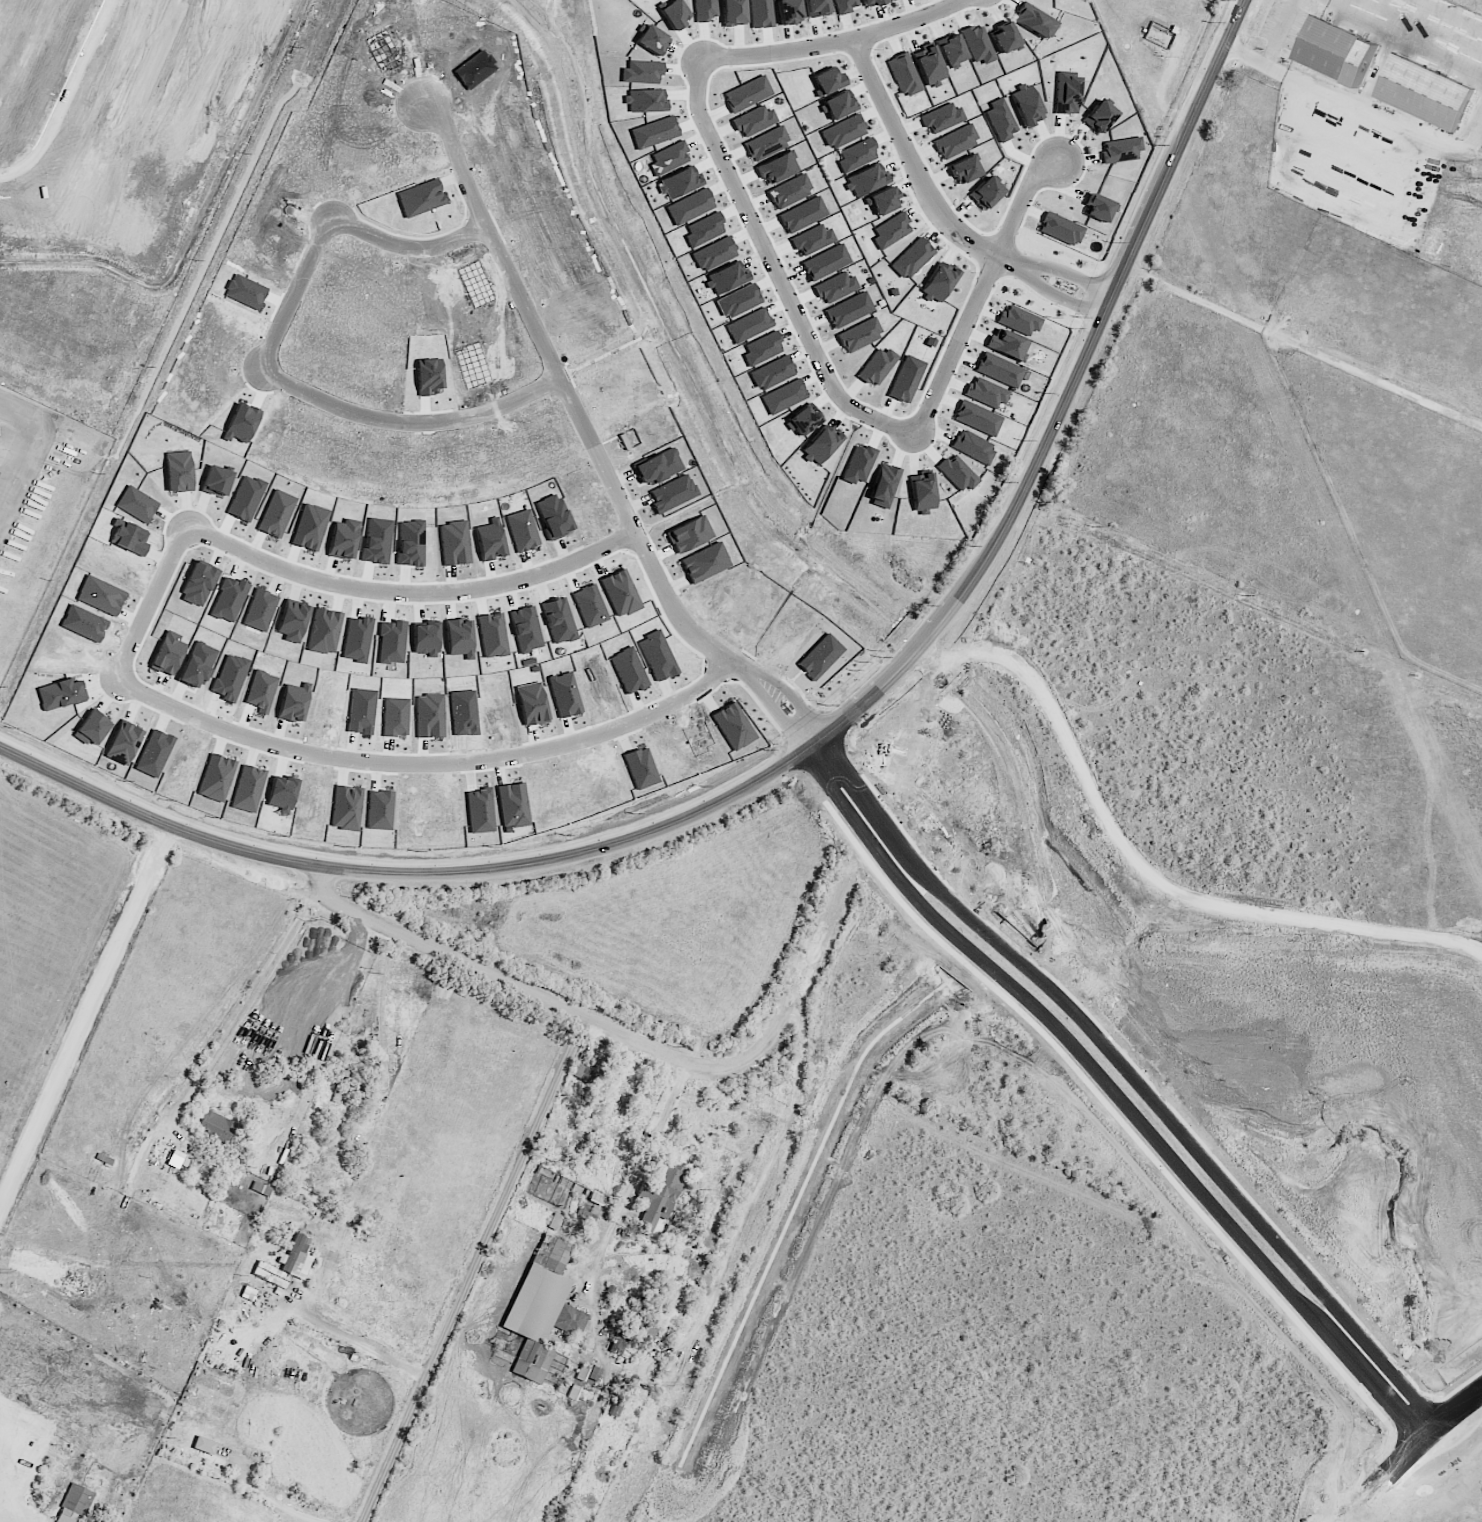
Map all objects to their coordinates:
building: (872, 3)
building: (844, 6)
building: (816, 7)
building: (704, 10)
building: (788, 11)
building: (732, 12)
building: (761, 14)
building: (673, 15)
building: (1035, 21)
building: (1004, 37)
building: (651, 40)
road: (833, 42)
building: (978, 44)
road: (1270, 50)
building: (951, 51)
building: (1336, 51)
building: (928, 64)
building: (642, 72)
building: (904, 75)
building: (827, 80)
building: (1425, 92)
building: (1066, 93)
building: (747, 94)
building: (646, 100)
building: (838, 105)
building: (1026, 105)
building: (1100, 115)
building: (941, 118)
building: (1001, 120)
building: (754, 121)
building: (844, 131)
building: (654, 133)
building: (955, 142)
building: (766, 143)
building: (1121, 150)
building: (856, 155)
building: (669, 158)
road: (917, 167)
building: (777, 168)
building: (964, 170)
building: (866, 179)
building: (680, 182)
building: (789, 191)
building: (985, 193)
building: (882, 201)
building: (689, 207)
building: (1097, 208)
building: (802, 215)
building: (1061, 229)
building: (703, 230)
building: (890, 230)
building: (811, 239)
road: (422, 251)
building: (713, 254)
building: (912, 259)
building: (825, 262)
road: (775, 267)
road: (1067, 271)
building: (726, 277)
building: (938, 283)
building: (834, 287)
road: (982, 291)
road: (1057, 294)
road: (306, 296)
building: (737, 301)
building: (848, 310)
building: (1018, 320)
road: (1096, 331)
building: (859, 335)
building: (1007, 345)
road: (1303, 348)
building: (761, 349)
building: (876, 367)
building: (999, 371)
building: (772, 373)
building: (906, 380)
building: (986, 393)
road: (580, 405)
building: (977, 419)
building: (803, 420)
road: (421, 428)
building: (820, 445)
building: (858, 464)
building: (657, 467)
building: (178, 472)
building: (956, 473)
building: (883, 486)
building: (672, 493)
building: (922, 493)
building: (552, 515)
building: (522, 531)
building: (688, 534)
building: (454, 543)
building: (704, 563)
road: (1057, 565)
building: (197, 584)
road: (419, 591)
building: (620, 593)
building: (228, 600)
road: (163, 609)
building: (558, 621)
building: (525, 629)
building: (324, 631)
building: (491, 635)
building: (458, 638)
building: (356, 639)
building: (424, 639)
building: (391, 642)
road: (1199, 660)
building: (163, 663)
building: (260, 691)
road: (797, 698)
building: (292, 704)
building: (531, 704)
road: (778, 713)
building: (429, 716)
building: (123, 744)
road: (437, 761)
road: (852, 774)
road: (1355, 777)
building: (216, 778)
road: (837, 793)
road: (1139, 803)
building: (512, 805)
building: (479, 811)
road: (481, 870)
road: (351, 963)
road: (246, 1004)
road: (553, 1005)
road: (380, 1009)
road: (88, 1016)
building: (584, 1067)
road: (1165, 1113)
building: (213, 1127)
road: (1150, 1131)
building: (165, 1155)
building: (560, 1180)
road: (757, 1187)
building: (260, 1189)
building: (656, 1201)
road: (625, 1204)
building: (585, 1218)
building: (286, 1264)
road: (483, 1272)
building: (75, 1285)
building: (541, 1308)
building: (644, 1336)
road: (367, 1343)
building: (616, 1347)
building: (594, 1374)
building: (618, 1399)
road: (1411, 1449)
building: (205, 1451)
road: (14, 1500)
road: (272, 1501)
building: (70, 1504)
road: (1349, 1519)

